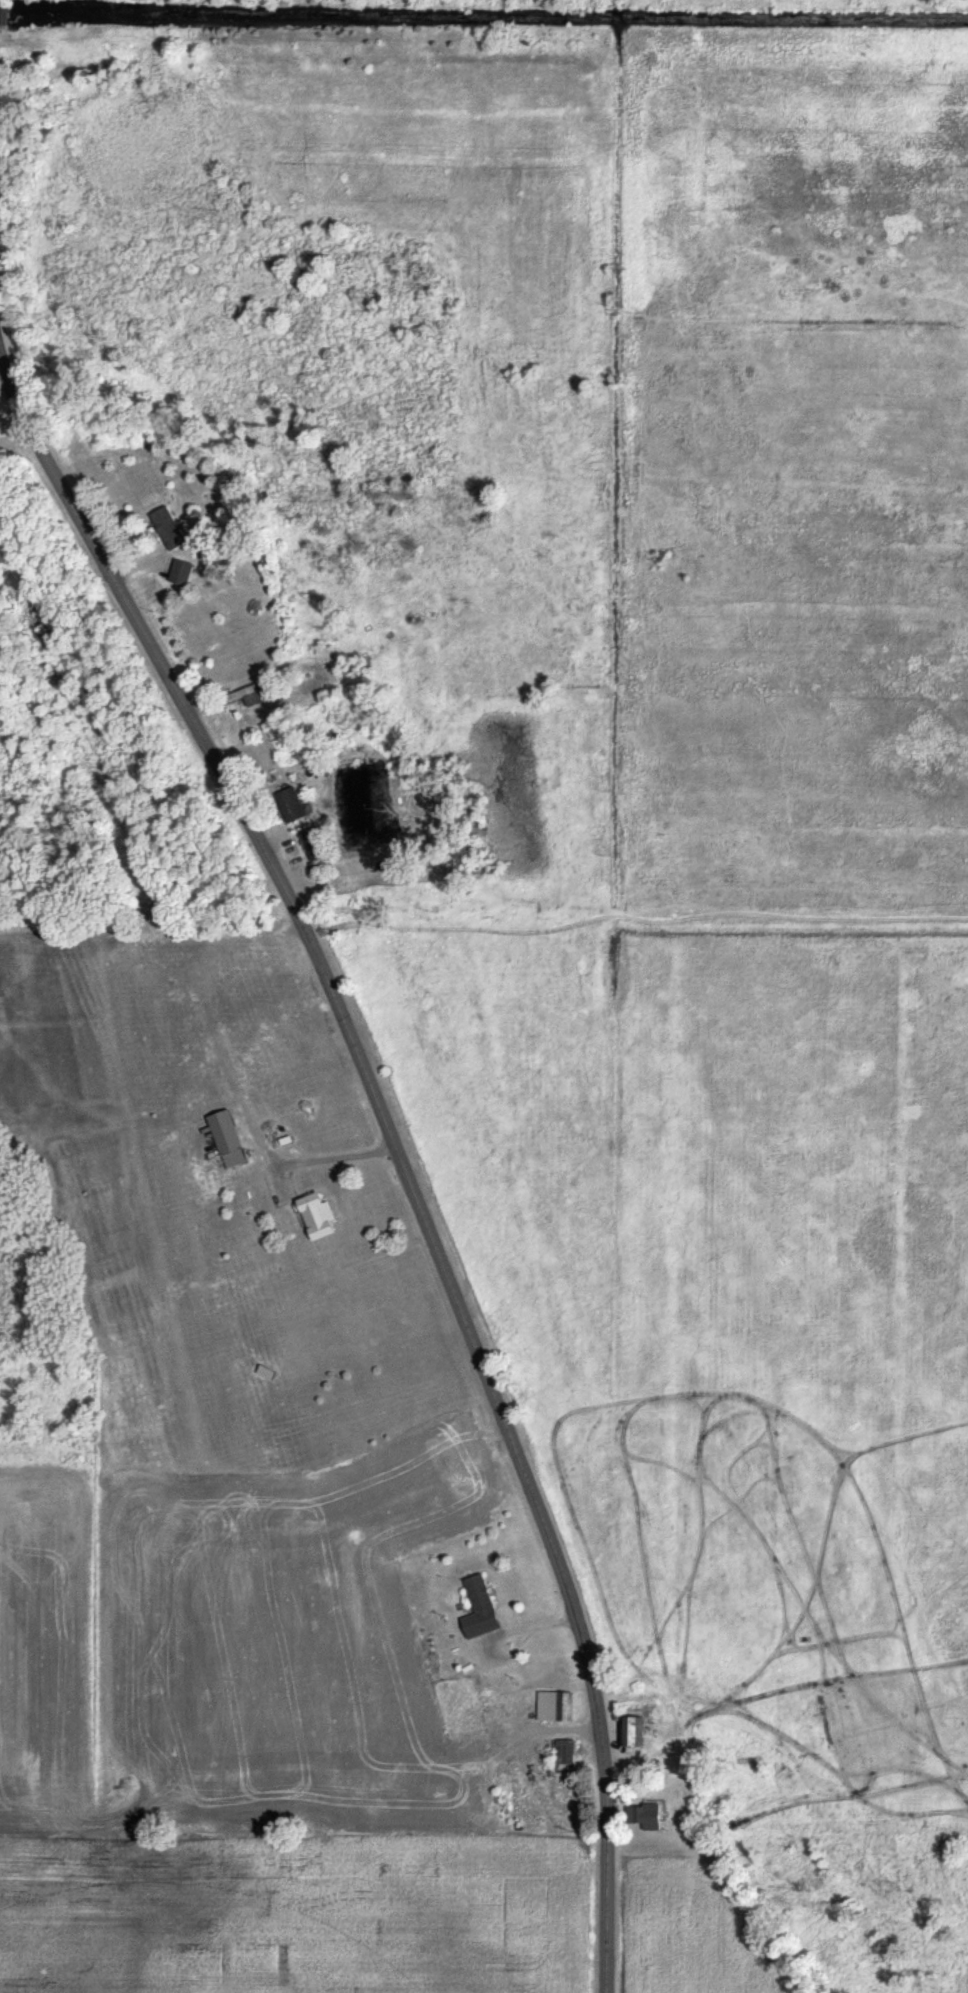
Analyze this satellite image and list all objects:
building: (165, 526)
building: (179, 571)
building: (240, 695)
building: (288, 804)
building: (226, 1138)
road: (396, 1145)
building: (313, 1215)
building: (477, 1607)
building: (553, 1705)
building: (630, 1730)
building: (646, 1815)

